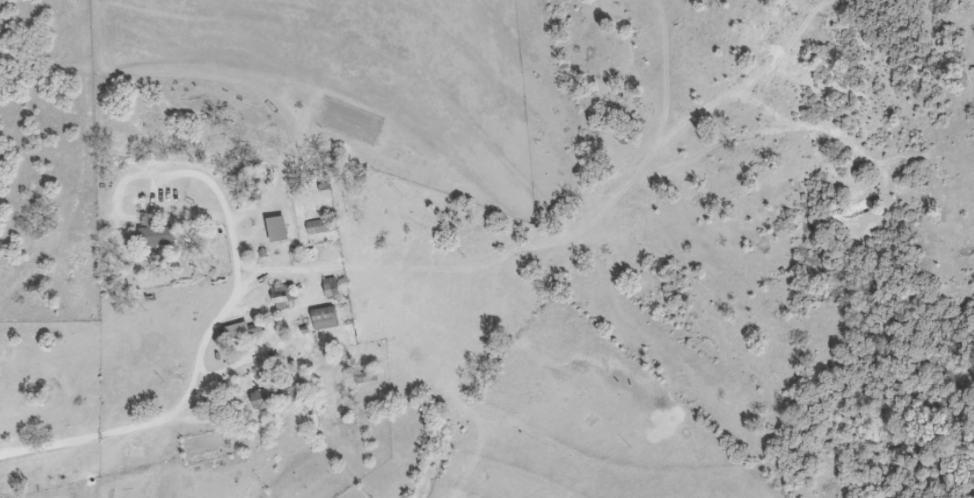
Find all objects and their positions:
building: (321, 227)
building: (277, 230)
building: (154, 233)
building: (330, 288)
building: (283, 300)
building: (323, 319)
road: (127, 388)
building: (275, 397)

